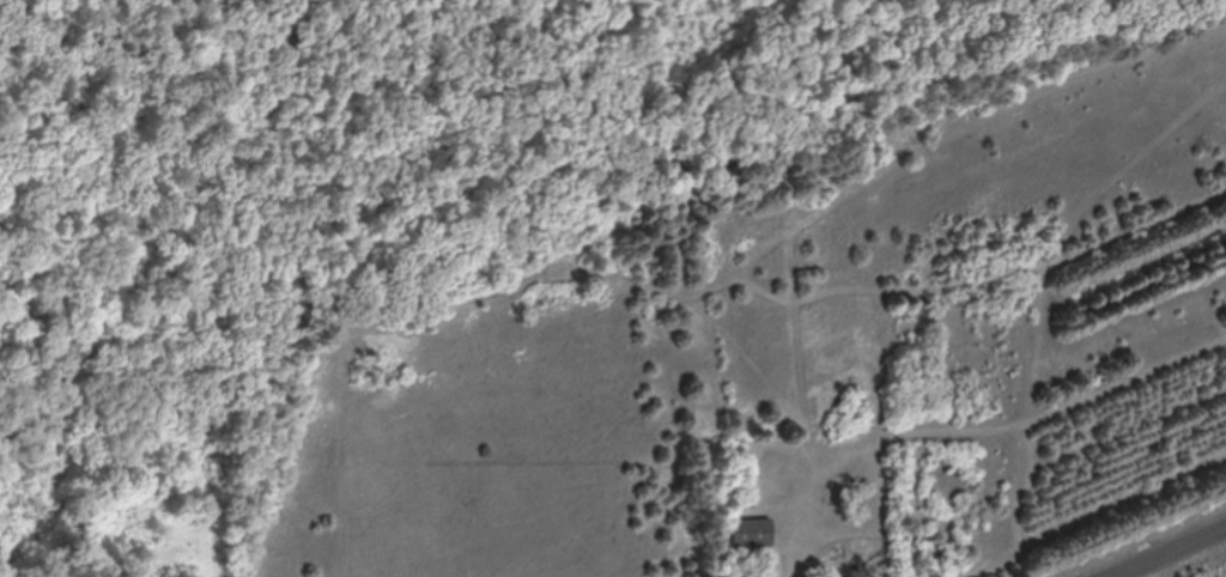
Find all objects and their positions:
park: (95, 261)
building: (751, 533)
road: (1170, 552)

